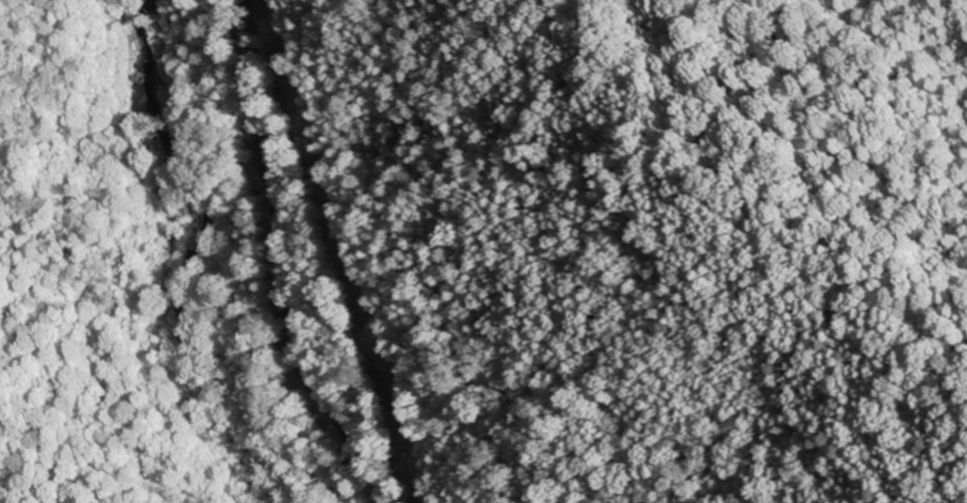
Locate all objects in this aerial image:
road: (281, 262)

